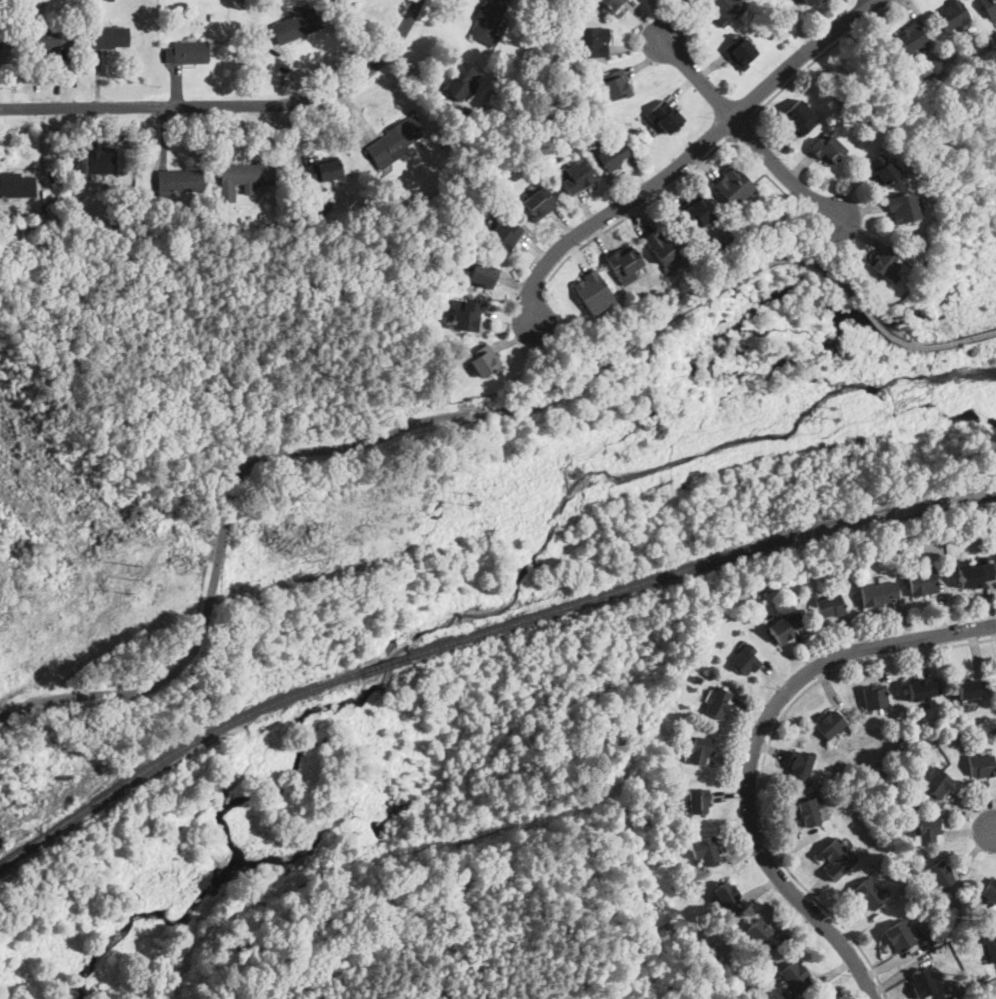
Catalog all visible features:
building: (342, 1)
road: (873, 1)
building: (808, 2)
road: (895, 2)
building: (609, 4)
building: (990, 7)
building: (724, 9)
building: (952, 14)
building: (489, 20)
building: (295, 25)
building: (111, 36)
building: (913, 37)
building: (52, 38)
building: (591, 42)
building: (0, 44)
building: (186, 51)
building: (740, 51)
road: (823, 54)
road: (696, 76)
building: (460, 80)
building: (614, 84)
road: (231, 104)
building: (664, 116)
building: (798, 118)
road: (741, 127)
building: (395, 140)
building: (829, 150)
building: (610, 155)
road: (687, 156)
building: (98, 160)
building: (882, 168)
building: (323, 169)
road: (784, 170)
building: (243, 176)
building: (575, 177)
building: (175, 181)
building: (17, 184)
building: (733, 186)
building: (538, 203)
building: (905, 206)
road: (639, 209)
building: (697, 213)
building: (502, 235)
building: (664, 245)
building: (625, 263)
building: (885, 263)
building: (478, 276)
road: (735, 279)
building: (593, 292)
building: (464, 316)
building: (483, 362)
power tower: (833, 411)
power tower: (468, 498)
road: (221, 546)
building: (974, 573)
power tower: (128, 574)
building: (922, 581)
building: (879, 593)
building: (830, 604)
building: (785, 626)
building: (744, 658)
building: (923, 687)
building: (968, 688)
building: (874, 695)
building: (717, 700)
building: (830, 724)
building: (700, 749)
road: (753, 749)
road: (764, 759)
building: (982, 764)
building: (800, 765)
building: (934, 781)
building: (698, 801)
building: (809, 812)
road: (992, 829)
building: (927, 831)
building: (705, 851)
building: (835, 857)
building: (941, 874)
building: (989, 890)
building: (868, 893)
building: (725, 894)
building: (755, 933)
building: (899, 936)
building: (992, 949)
building: (794, 976)
building: (923, 982)

